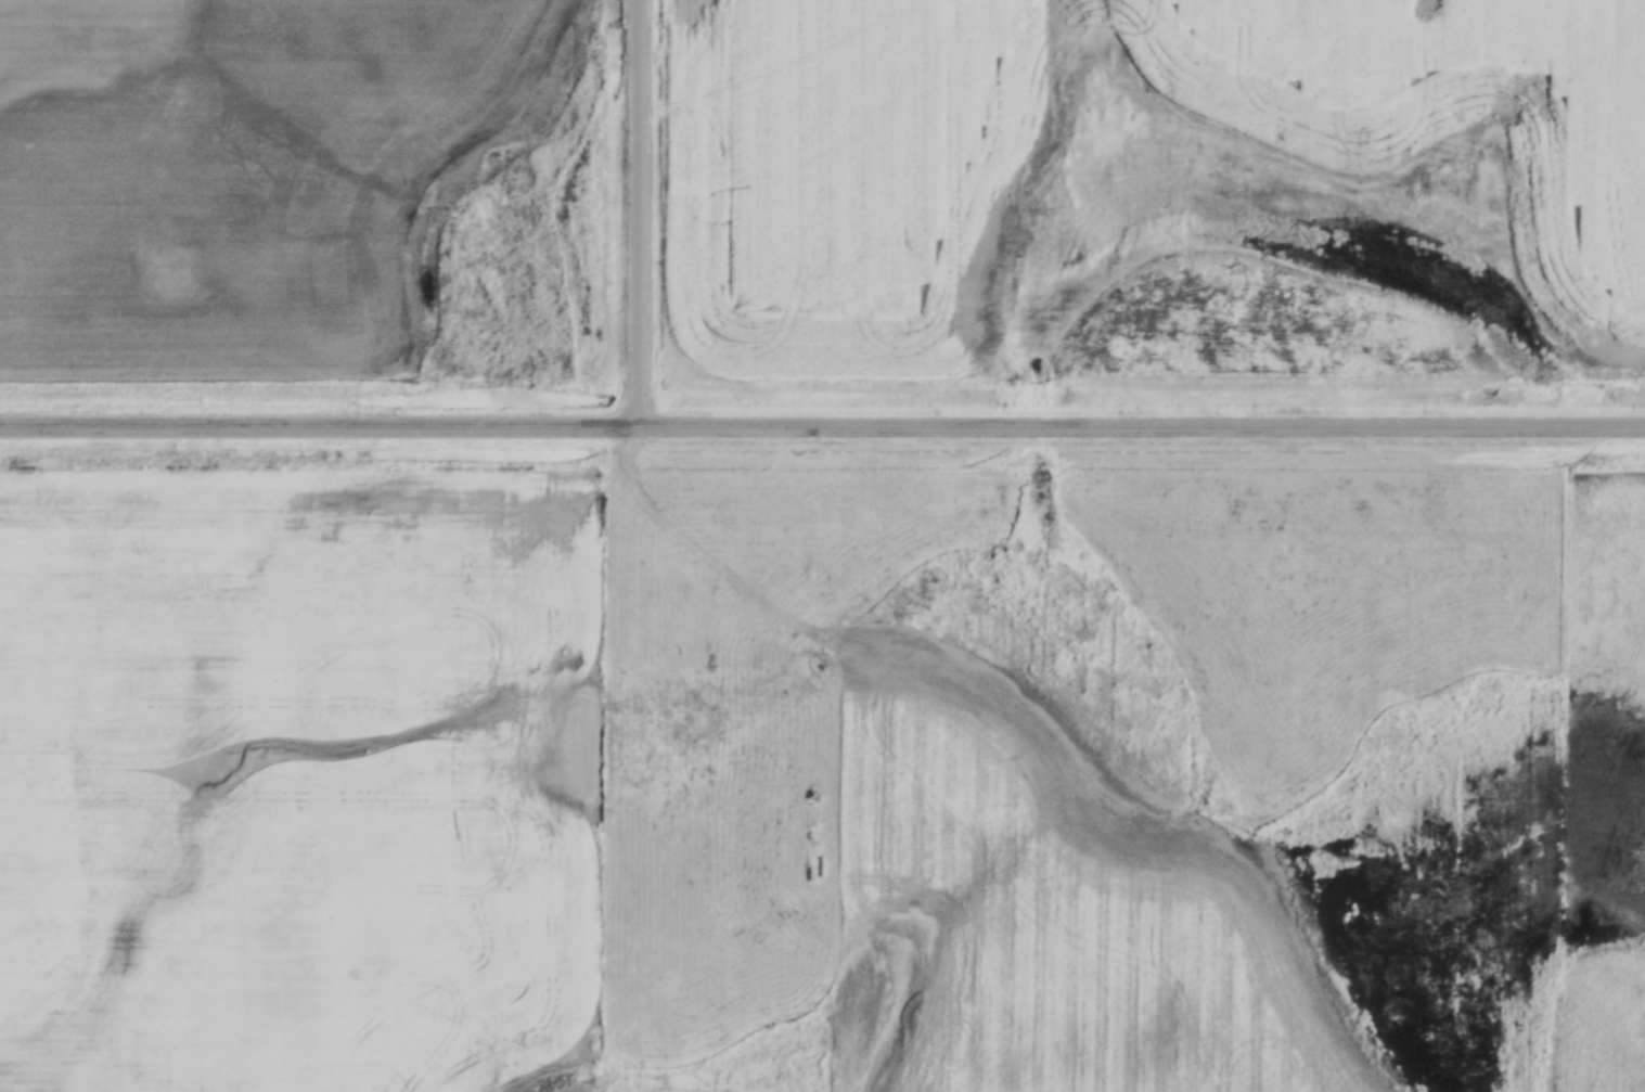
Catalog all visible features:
road: (634, 214)
road: (822, 428)

